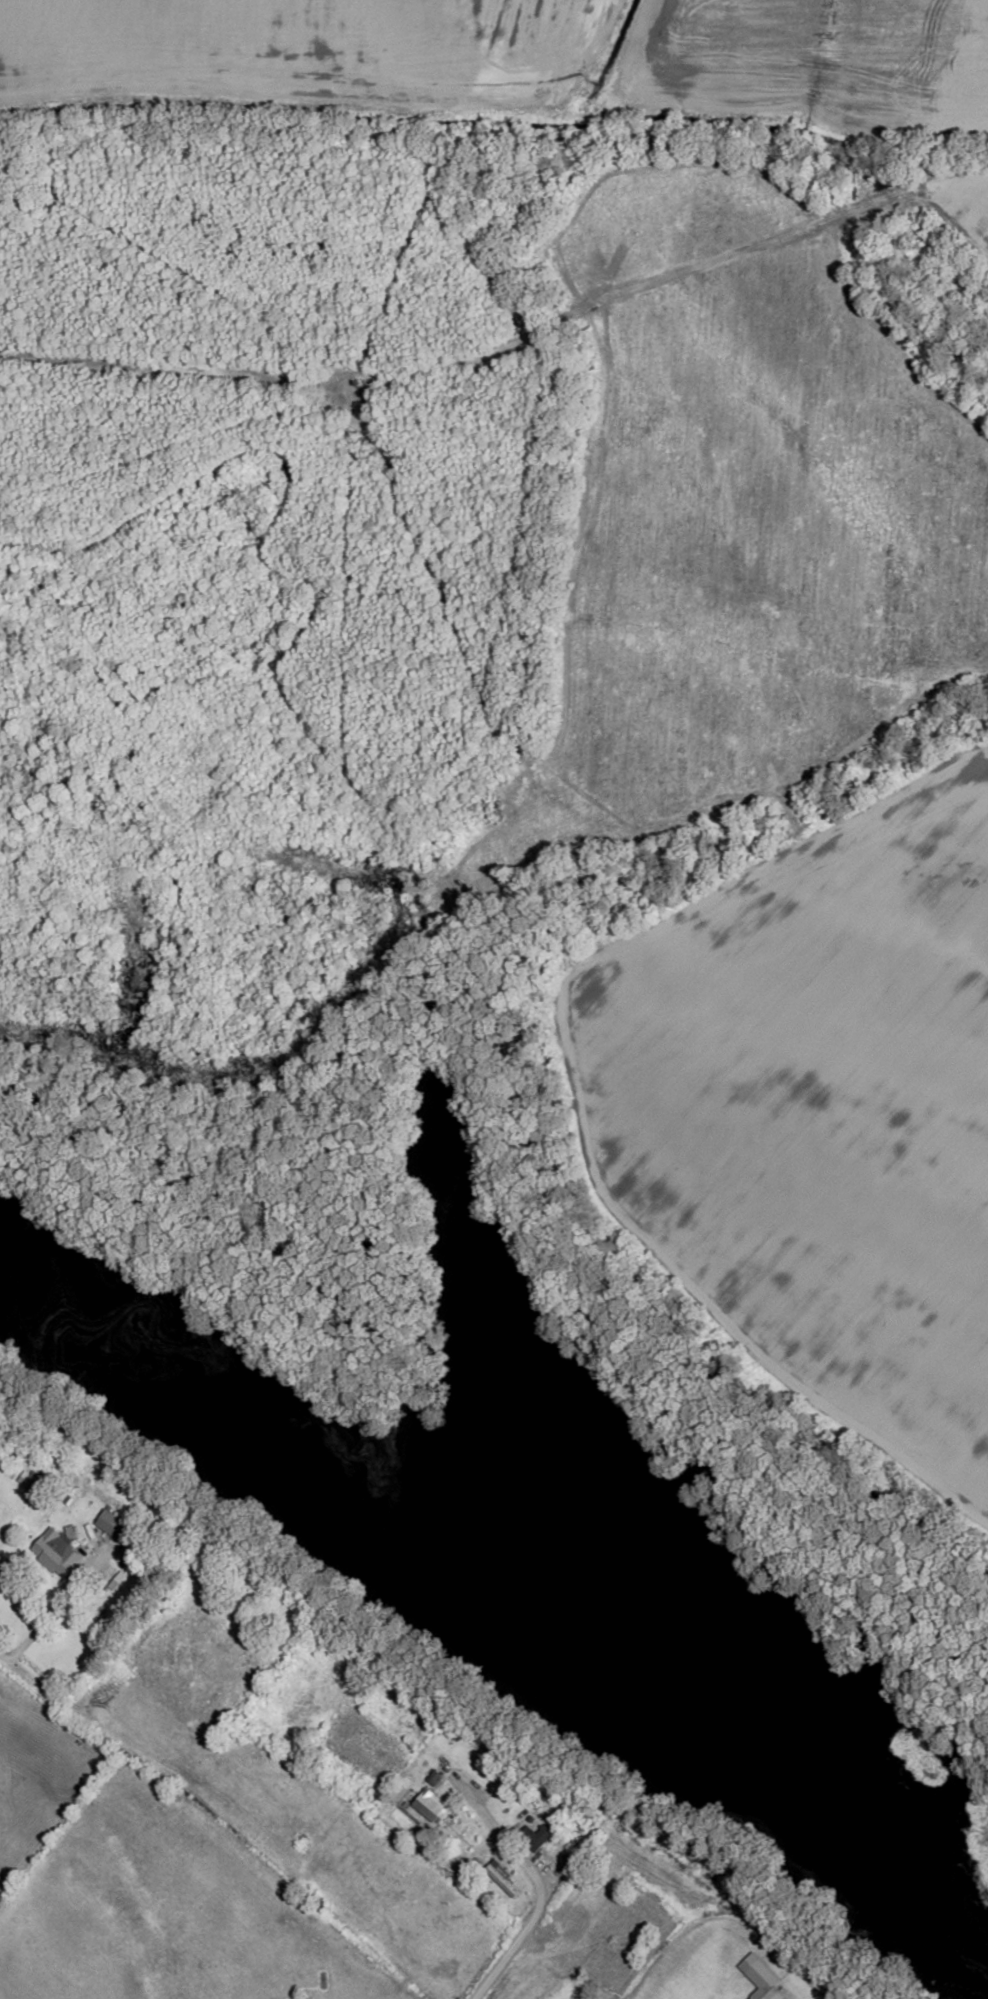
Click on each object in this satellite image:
building: (119, 1527)
building: (58, 1552)
road: (48, 1613)
building: (432, 1806)
building: (537, 1836)
building: (502, 1877)
road: (537, 1895)
building: (763, 1978)

